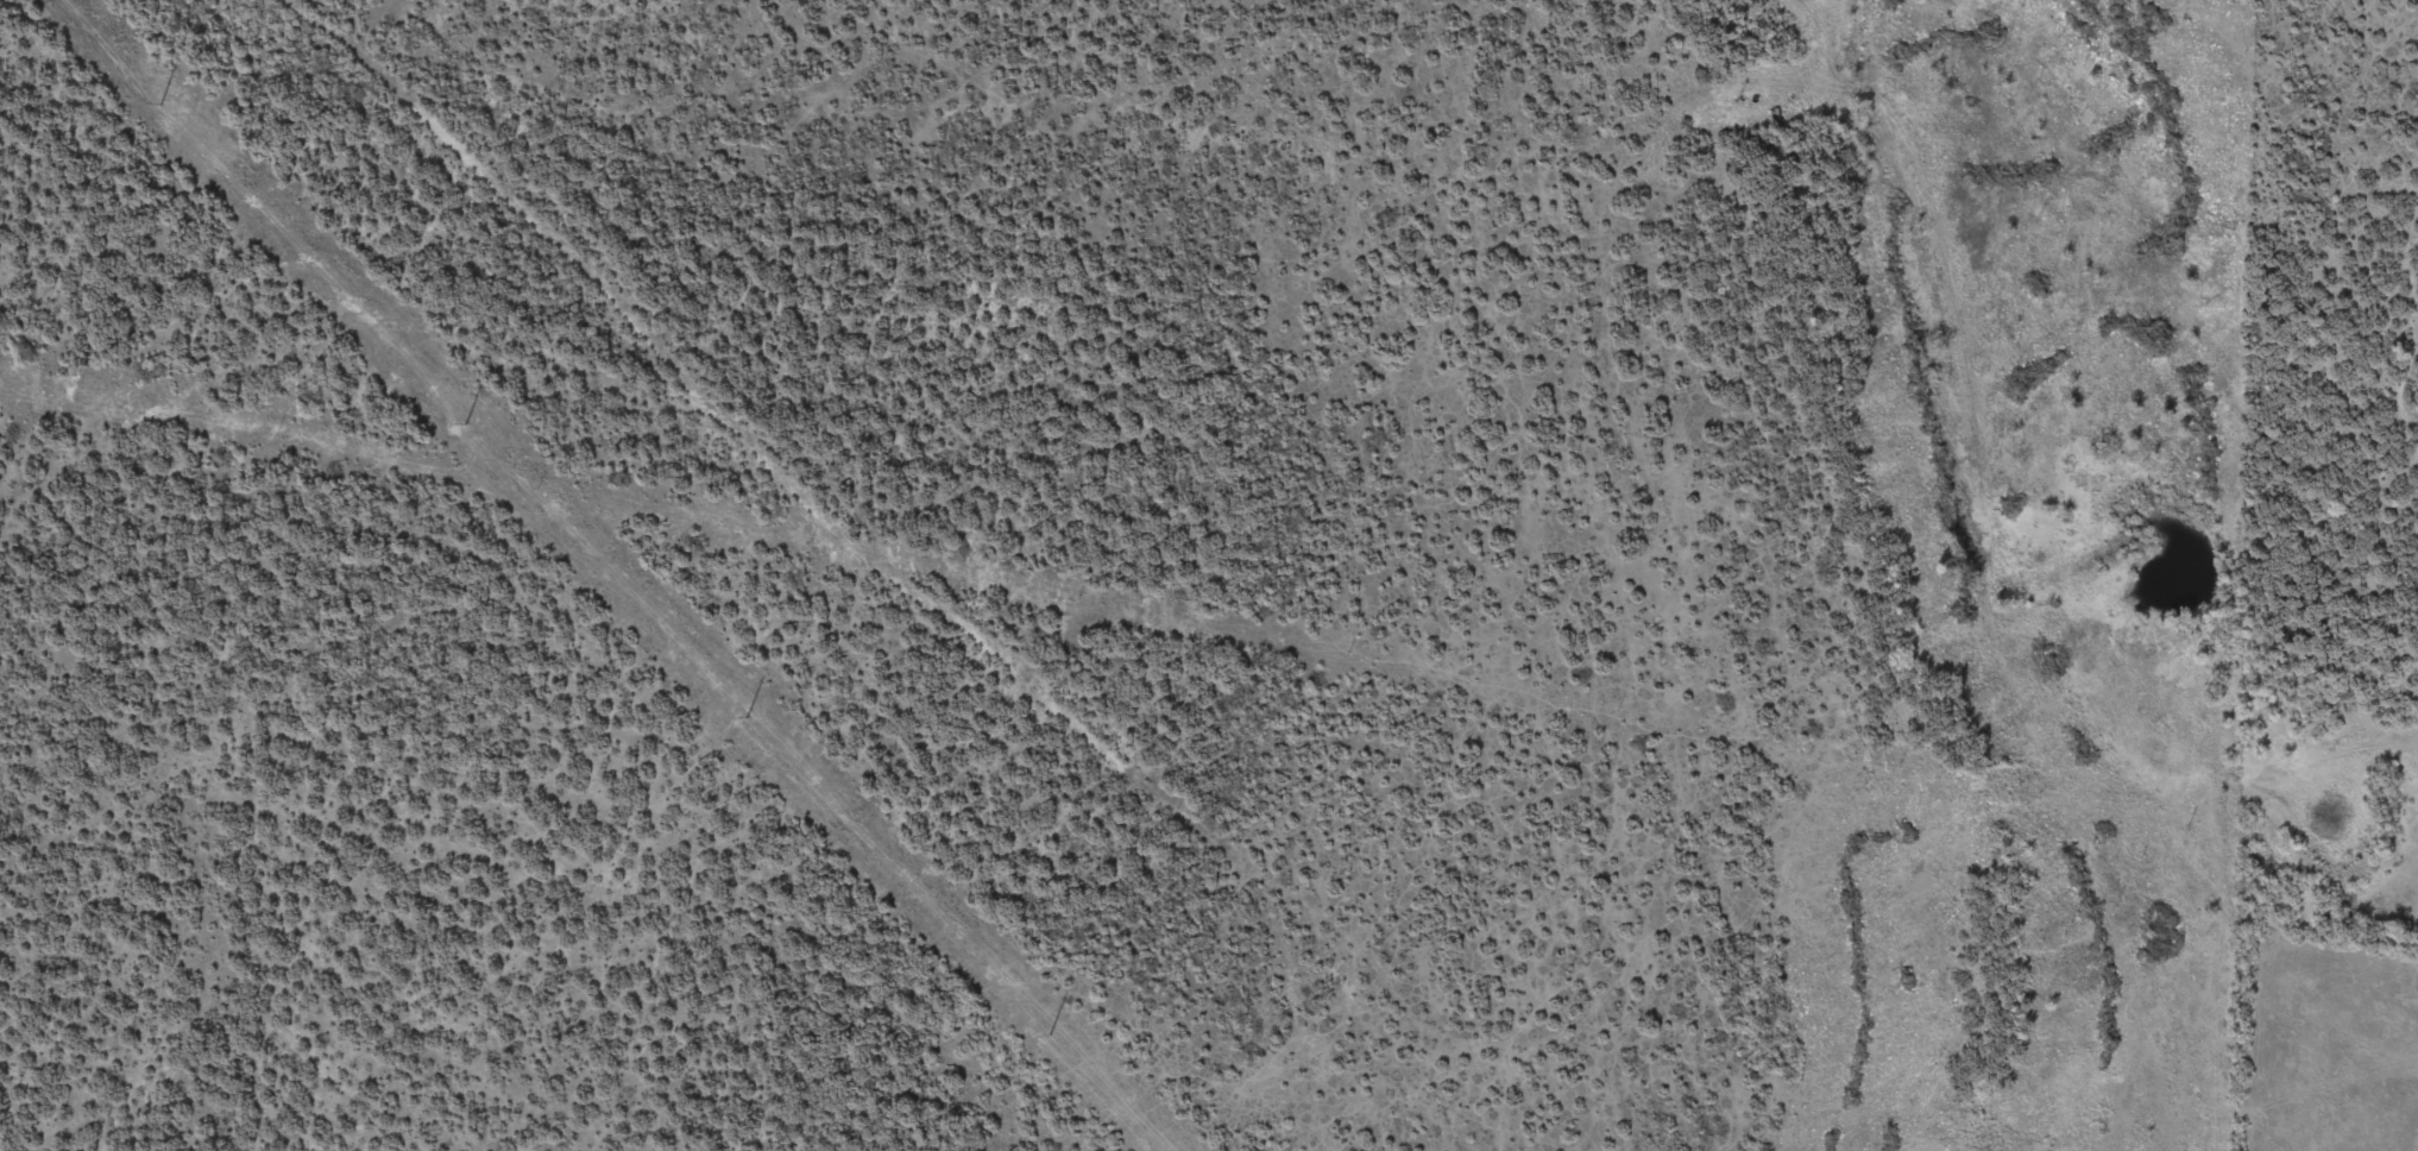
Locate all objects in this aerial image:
power tower: (158, 102)
power tower: (466, 422)
road: (2000, 562)
power tower: (745, 716)
power tower: (1051, 1033)

